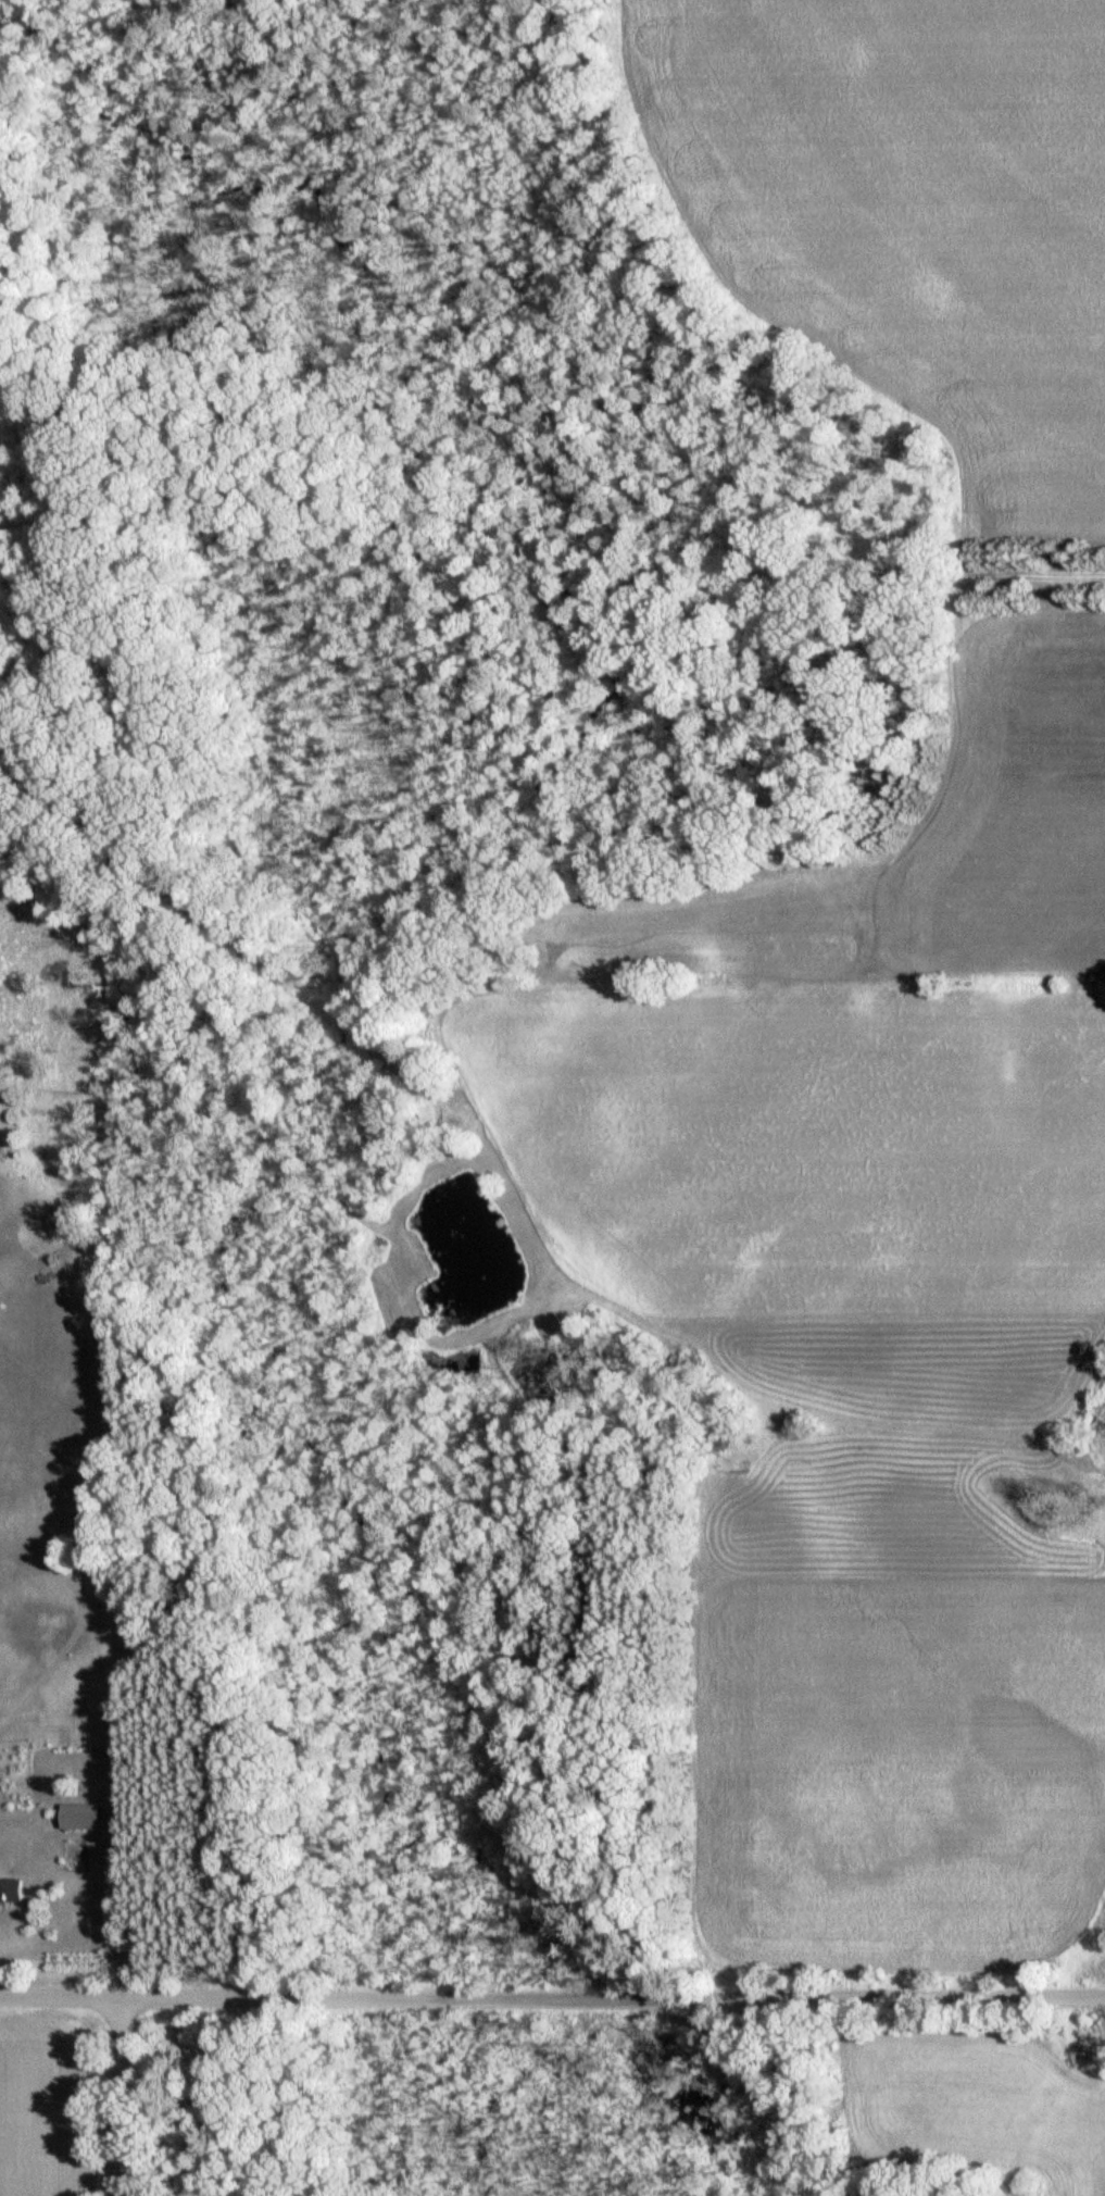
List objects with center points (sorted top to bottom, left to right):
building: (81, 1817)
building: (11, 1891)
road: (552, 1997)
road: (121, 2097)

